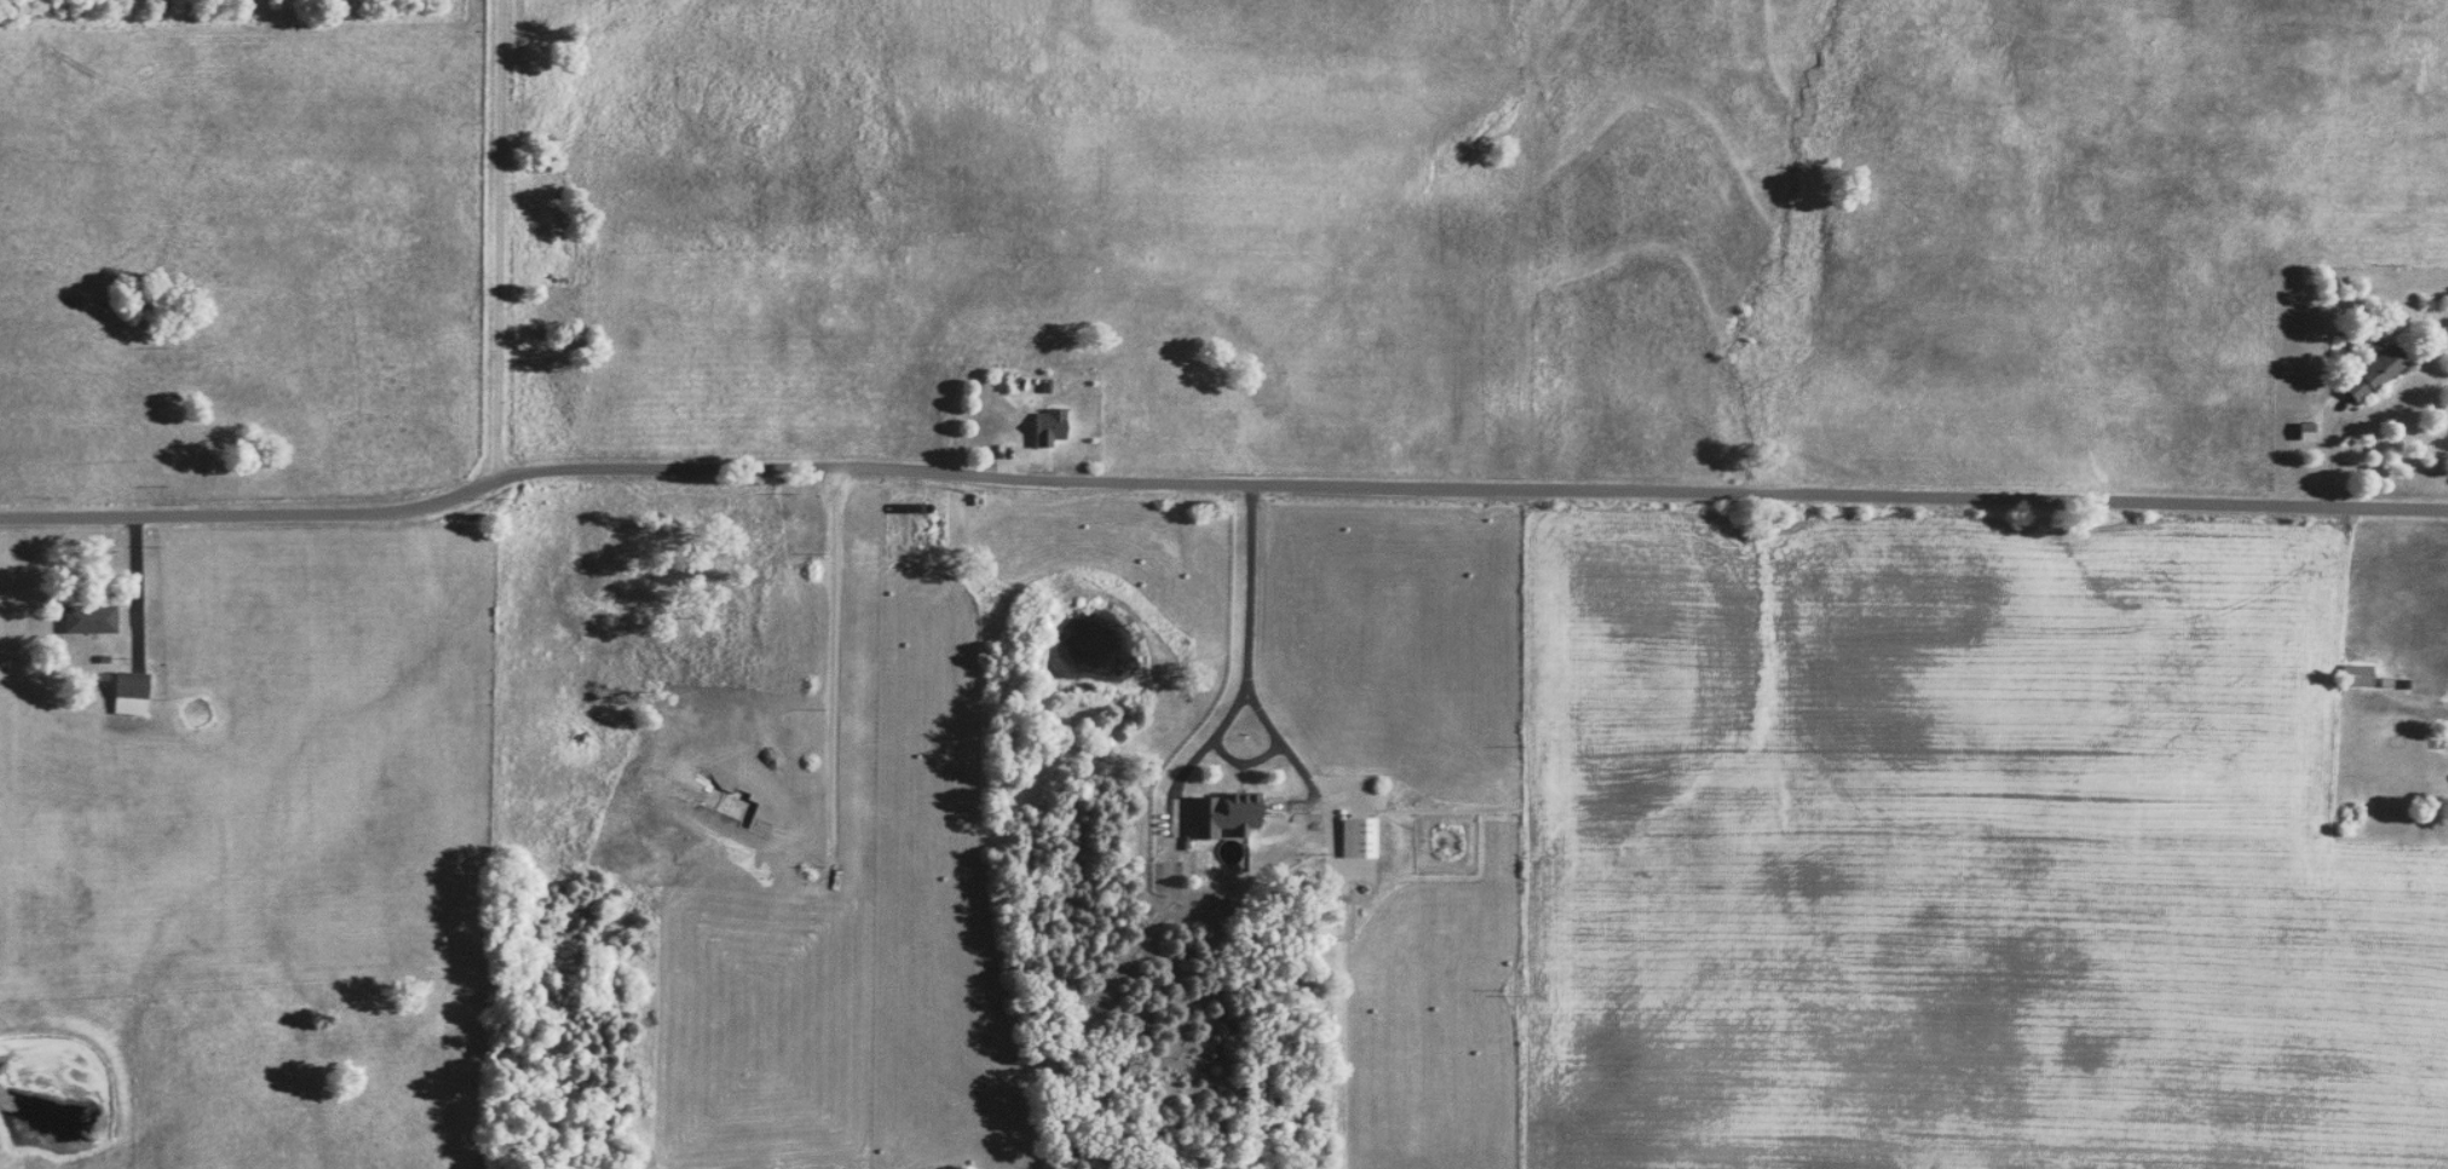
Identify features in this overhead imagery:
road: (496, 241)
building: (2369, 374)
building: (1048, 426)
building: (2303, 431)
road: (2325, 449)
road: (1470, 488)
road: (249, 509)
road: (134, 580)
building: (87, 618)
road: (1249, 632)
road: (830, 655)
building: (2355, 675)
building: (129, 692)
road: (2409, 712)
building: (1358, 837)

